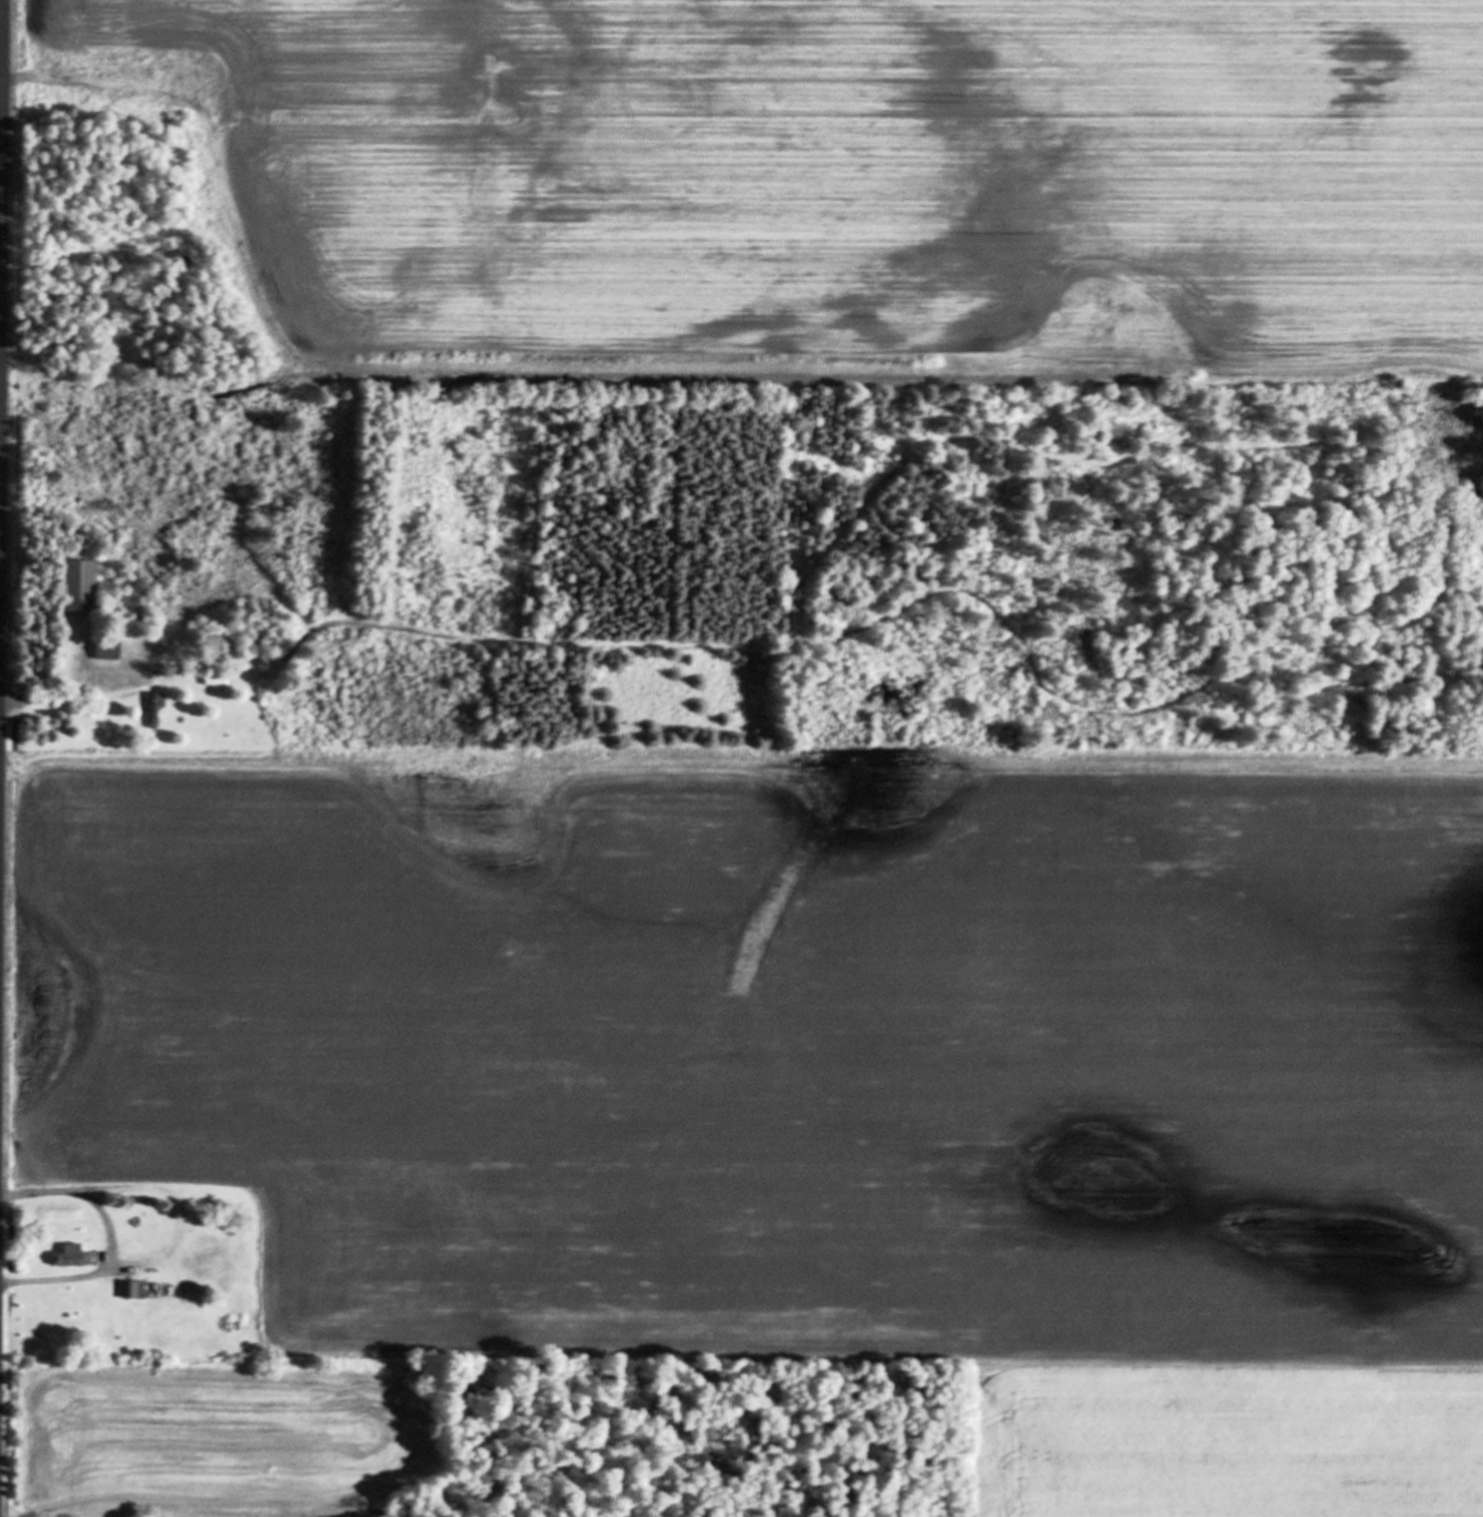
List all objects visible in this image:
road: (0, 9)
building: (82, 586)
building: (110, 650)
road: (45, 699)
building: (155, 709)
road: (111, 1236)
building: (75, 1254)

